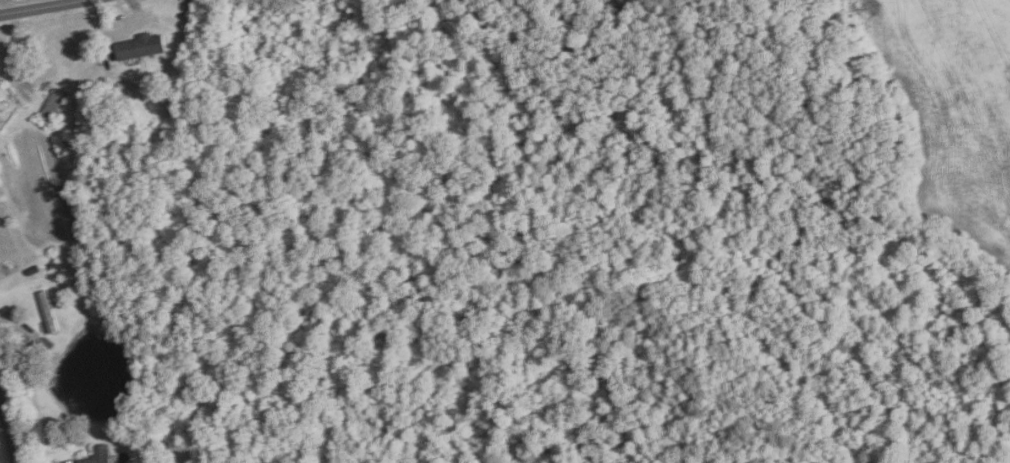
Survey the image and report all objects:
road: (38, 7)
building: (142, 47)
building: (82, 65)
building: (56, 105)
building: (49, 311)
road: (10, 433)
building: (101, 455)

